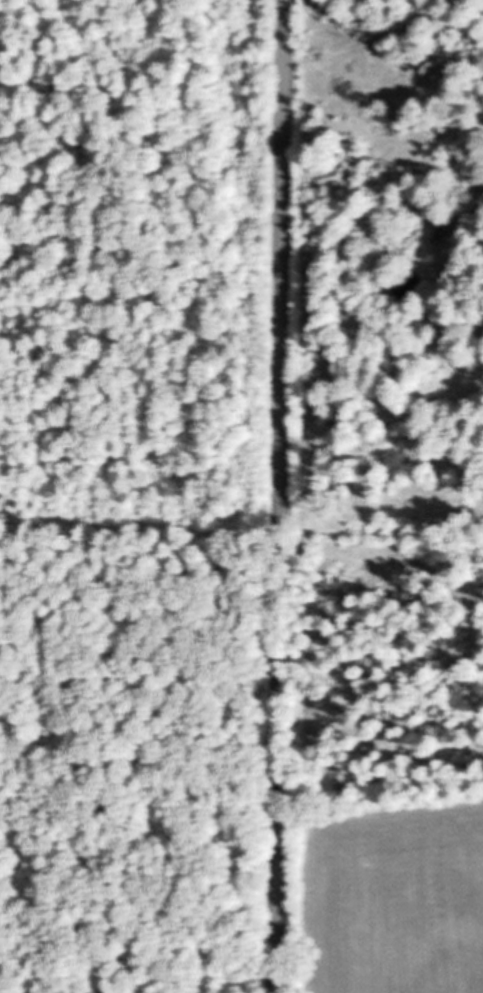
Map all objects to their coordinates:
road: (281, 496)
landfill: (135, 751)

